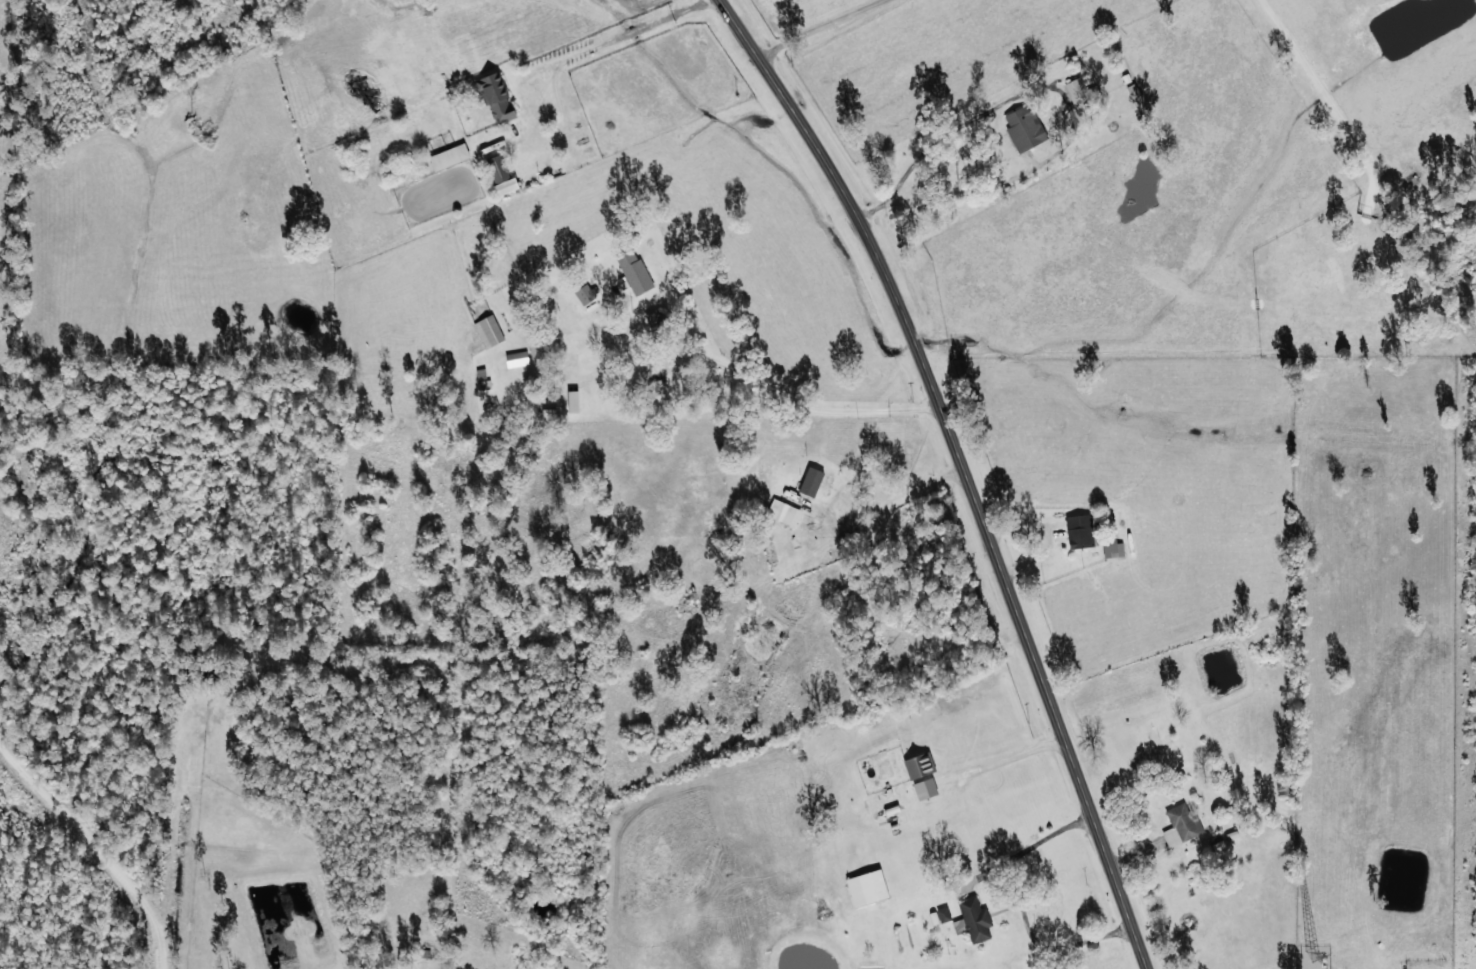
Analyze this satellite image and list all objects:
road: (766, 20)
building: (1081, 93)
building: (495, 97)
building: (1024, 127)
building: (448, 156)
building: (502, 175)
building: (633, 270)
building: (585, 293)
building: (488, 330)
building: (535, 351)
road: (963, 469)
building: (810, 481)
building: (1079, 531)
building: (1111, 546)
building: (918, 765)
building: (924, 788)
building: (1180, 825)
building: (866, 887)
building: (939, 915)
building: (972, 919)

